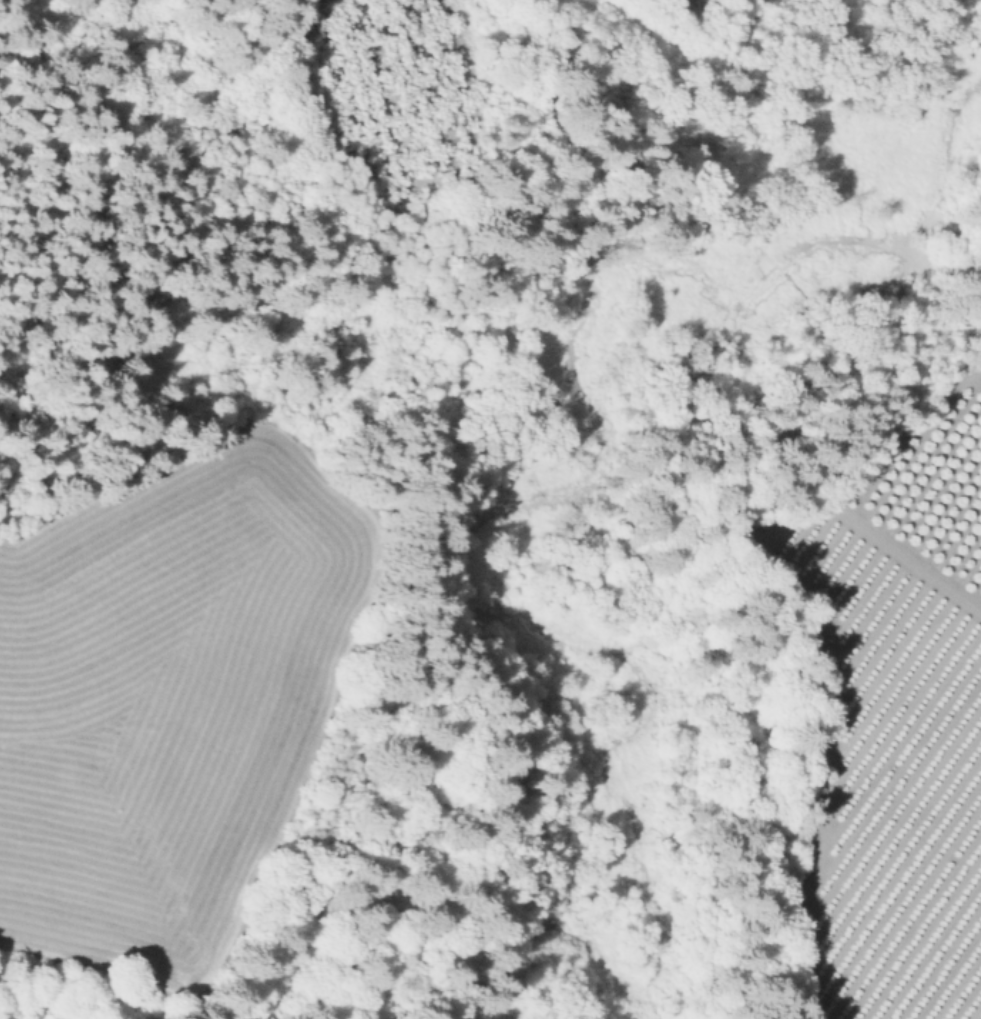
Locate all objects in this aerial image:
road: (918, 562)
crop: (151, 698)
crop: (888, 785)

